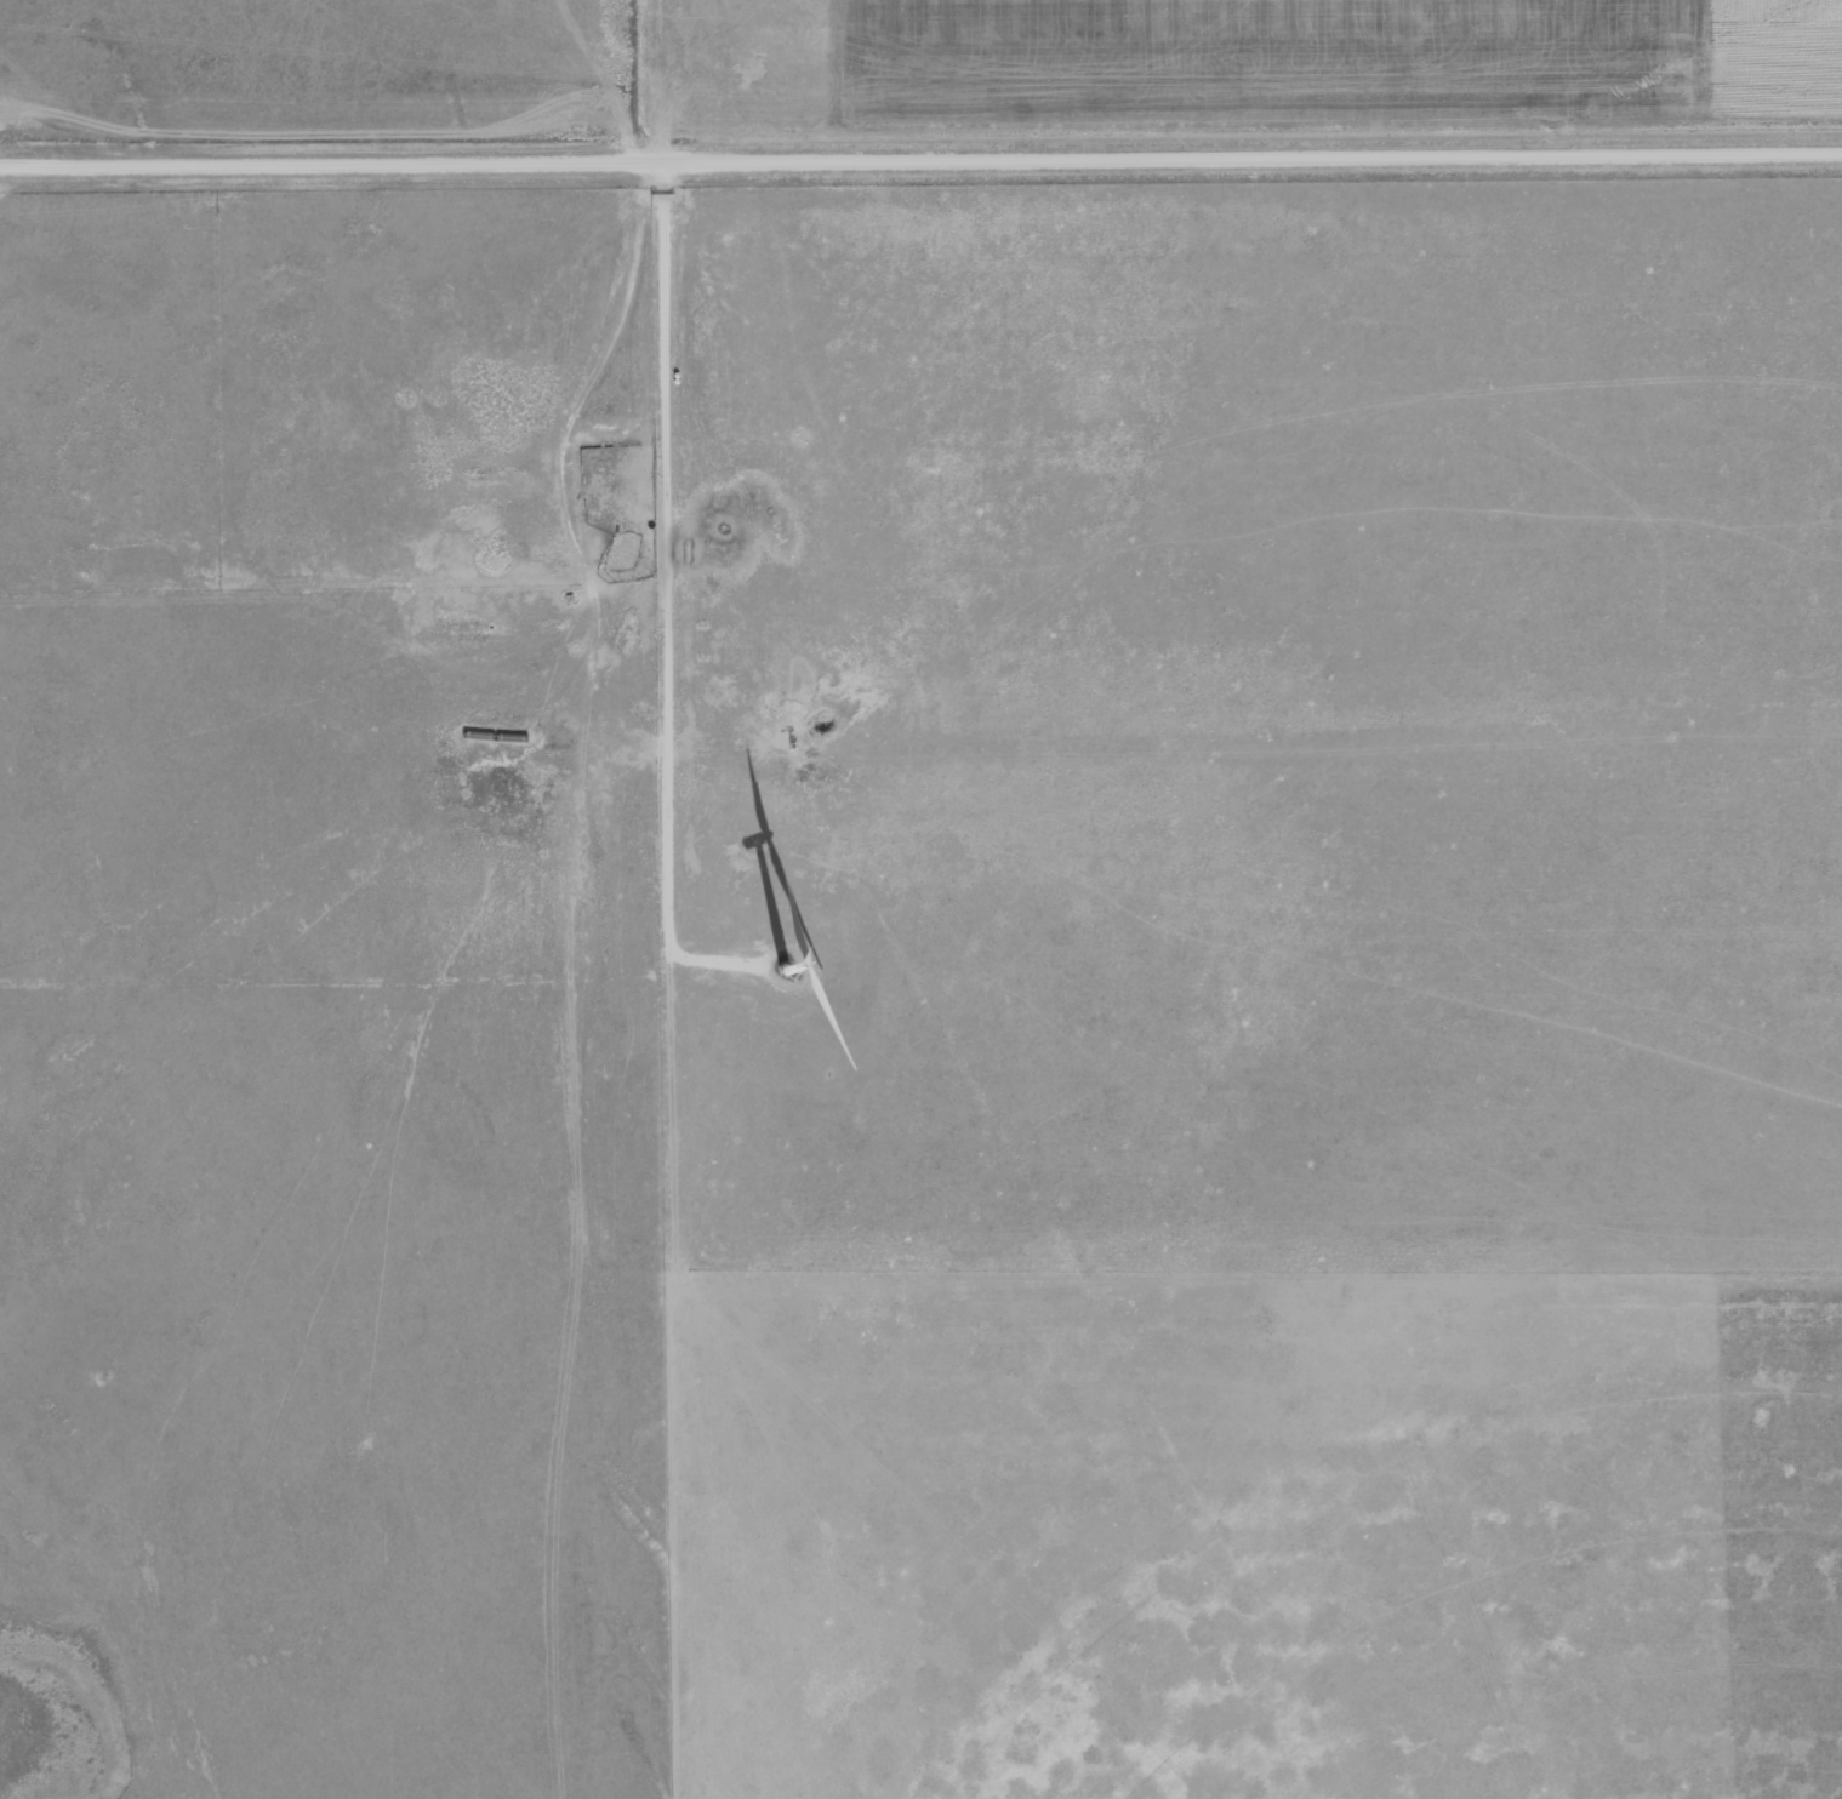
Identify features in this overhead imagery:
road: (920, 159)
wind turbine: (780, 969)

